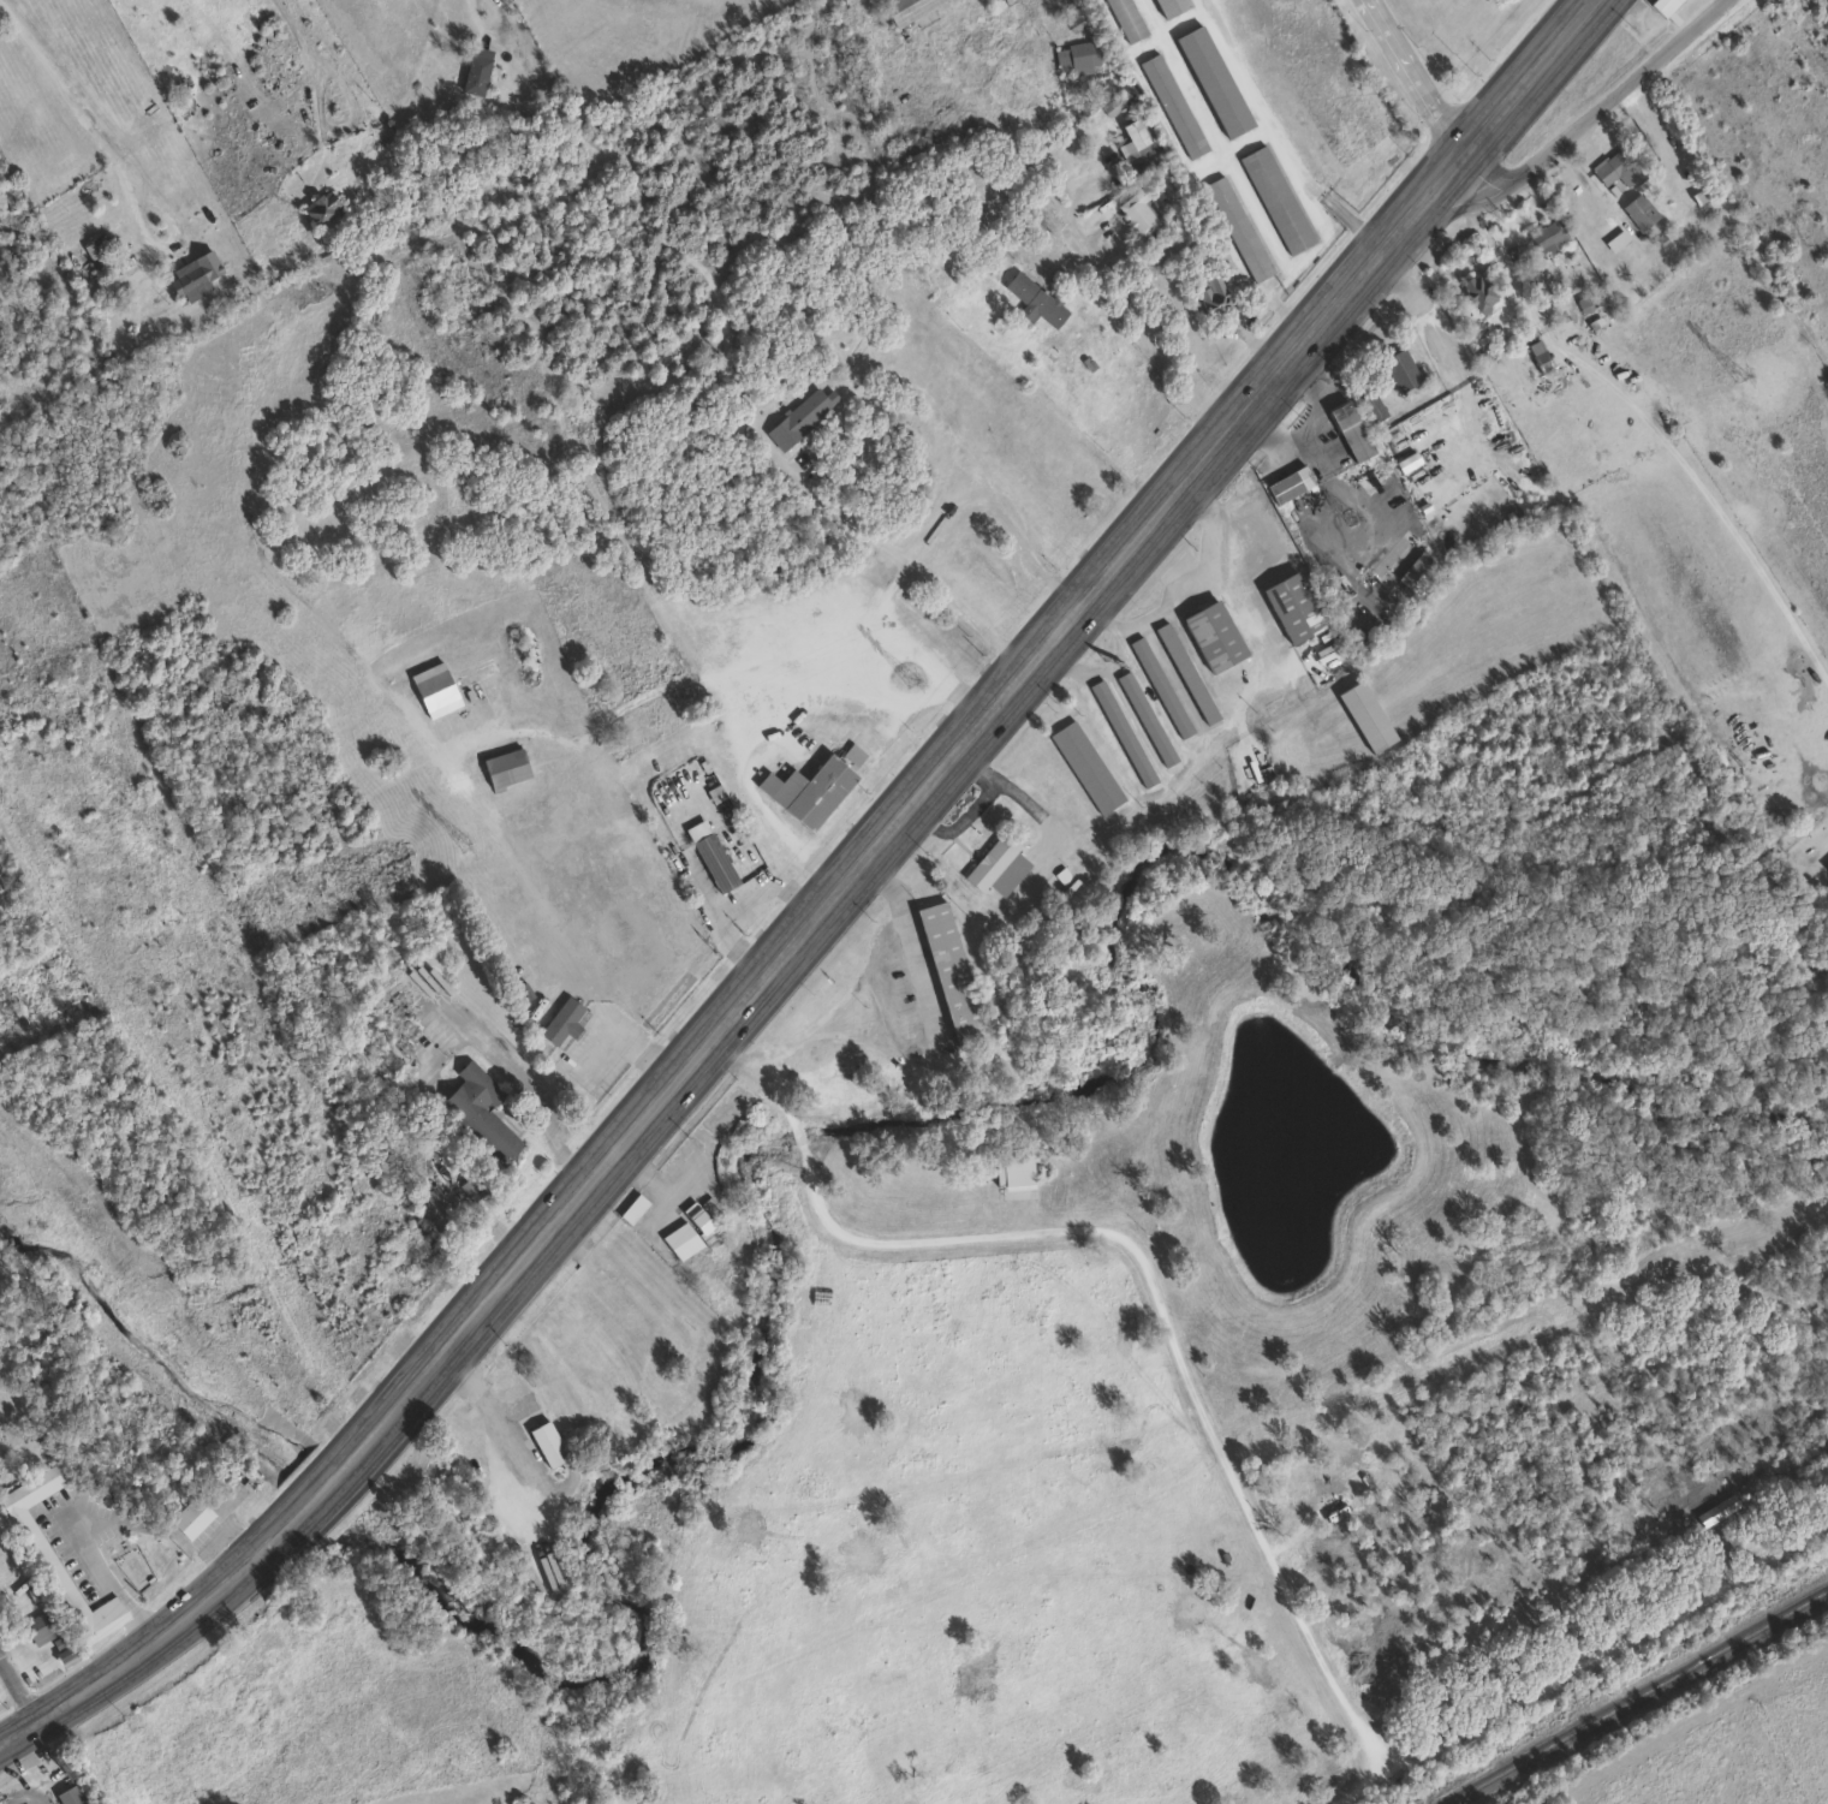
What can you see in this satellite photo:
building: (1167, 6)
building: (1661, 6)
road: (477, 7)
building: (903, 8)
road: (292, 18)
building: (1125, 18)
building: (1074, 56)
building: (475, 71)
road: (1409, 76)
building: (1213, 81)
road: (65, 84)
building: (1171, 105)
road: (1598, 107)
building: (1135, 132)
road: (1276, 135)
building: (1613, 167)
building: (1274, 198)
building: (318, 207)
building: (1637, 210)
building: (1136, 212)
building: (1235, 228)
road: (1083, 234)
building: (1548, 238)
building: (91, 244)
building: (187, 280)
road: (710, 281)
building: (1208, 292)
building: (1477, 292)
building: (1034, 300)
road: (1448, 356)
building: (1538, 356)
building: (1399, 369)
power tower: (1735, 375)
building: (292, 393)
building: (1370, 406)
road: (1647, 411)
building: (799, 416)
building: (1348, 430)
building: (1287, 484)
building: (994, 524)
road: (947, 525)
building: (973, 544)
building: (1416, 572)
road: (1186, 588)
building: (1291, 607)
building: (416, 627)
building: (1211, 636)
road: (915, 638)
road: (1111, 657)
building: (1184, 673)
power tower: (907, 680)
building: (441, 683)
building: (1159, 686)
building: (1364, 715)
building: (1144, 718)
road: (740, 727)
building: (1120, 732)
road: (1199, 752)
building: (504, 766)
building: (1084, 766)
building: (817, 781)
road: (472, 788)
building: (1733, 788)
power tower: (460, 843)
building: (710, 855)
building: (1827, 865)
building: (996, 867)
road: (824, 900)
road: (863, 974)
building: (948, 975)
power tower: (12, 1008)
building: (558, 1023)
road: (528, 1088)
building: (737, 1100)
building: (478, 1112)
building: (1012, 1171)
building: (439, 1207)
building: (687, 1232)
road: (1142, 1254)
road: (477, 1389)
building: (546, 1443)
building: (1348, 1484)
building: (189, 1517)
building: (41, 1552)
building: (38, 1626)
road: (17, 1686)
railway: (1632, 1695)
building: (69, 1794)

